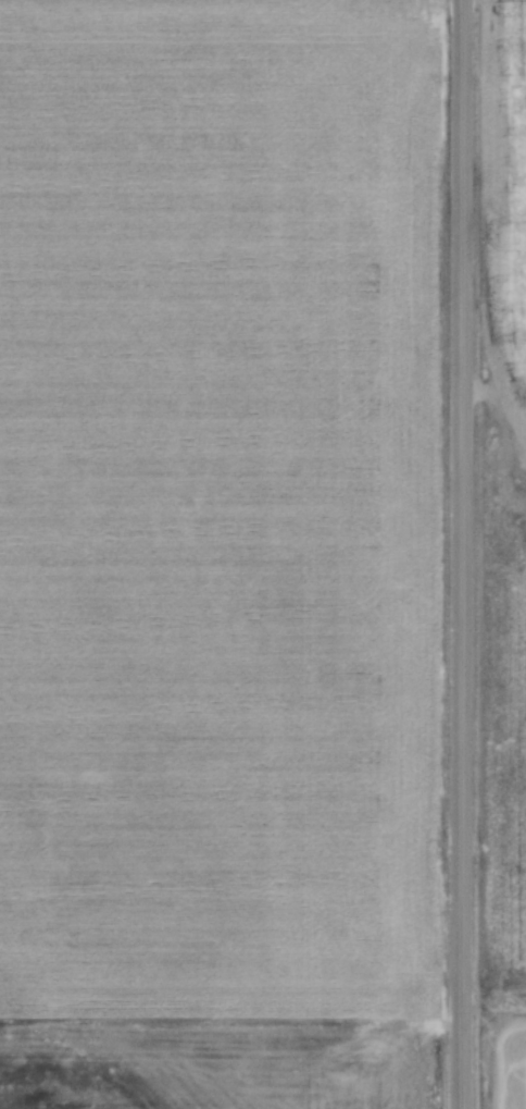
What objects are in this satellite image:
crop: (225, 535)
road: (461, 554)
crop: (504, 555)

